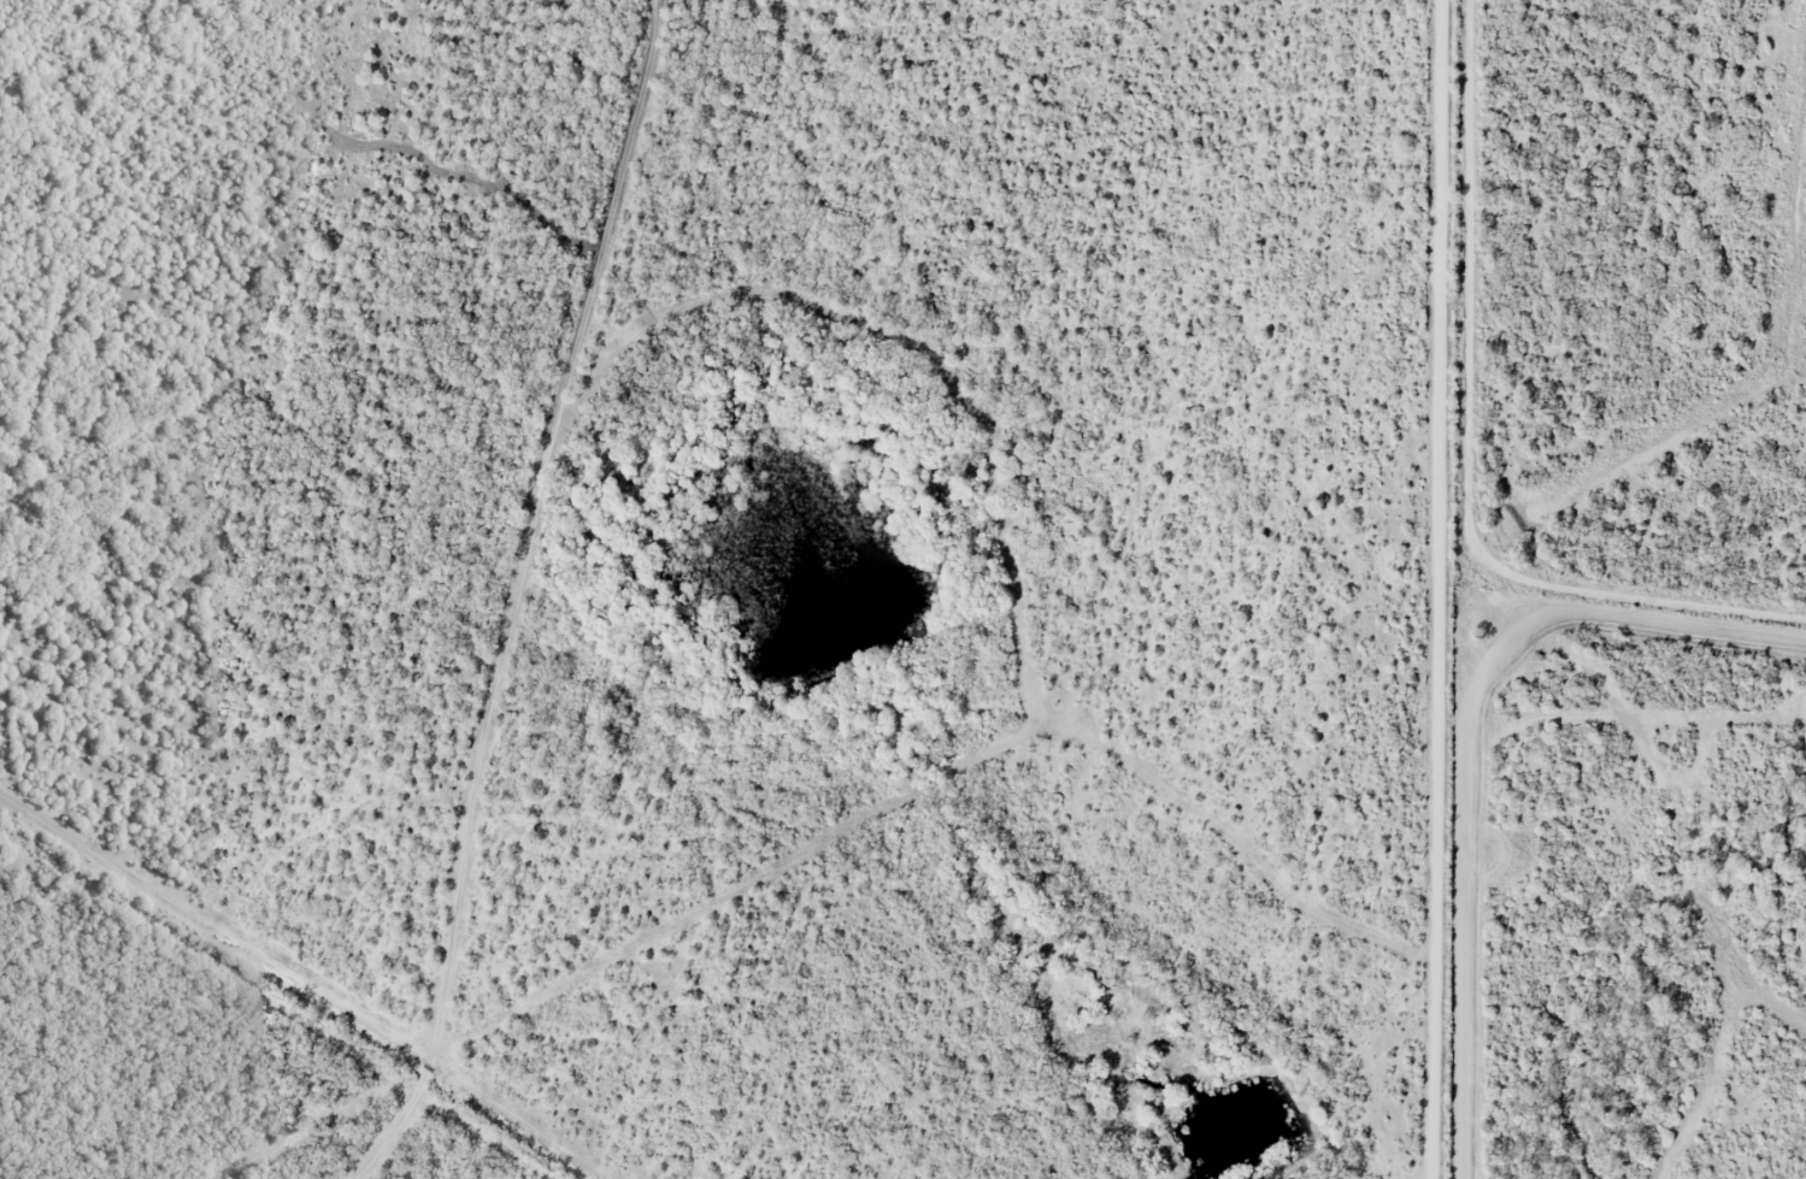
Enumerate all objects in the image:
road: (1434, 589)

